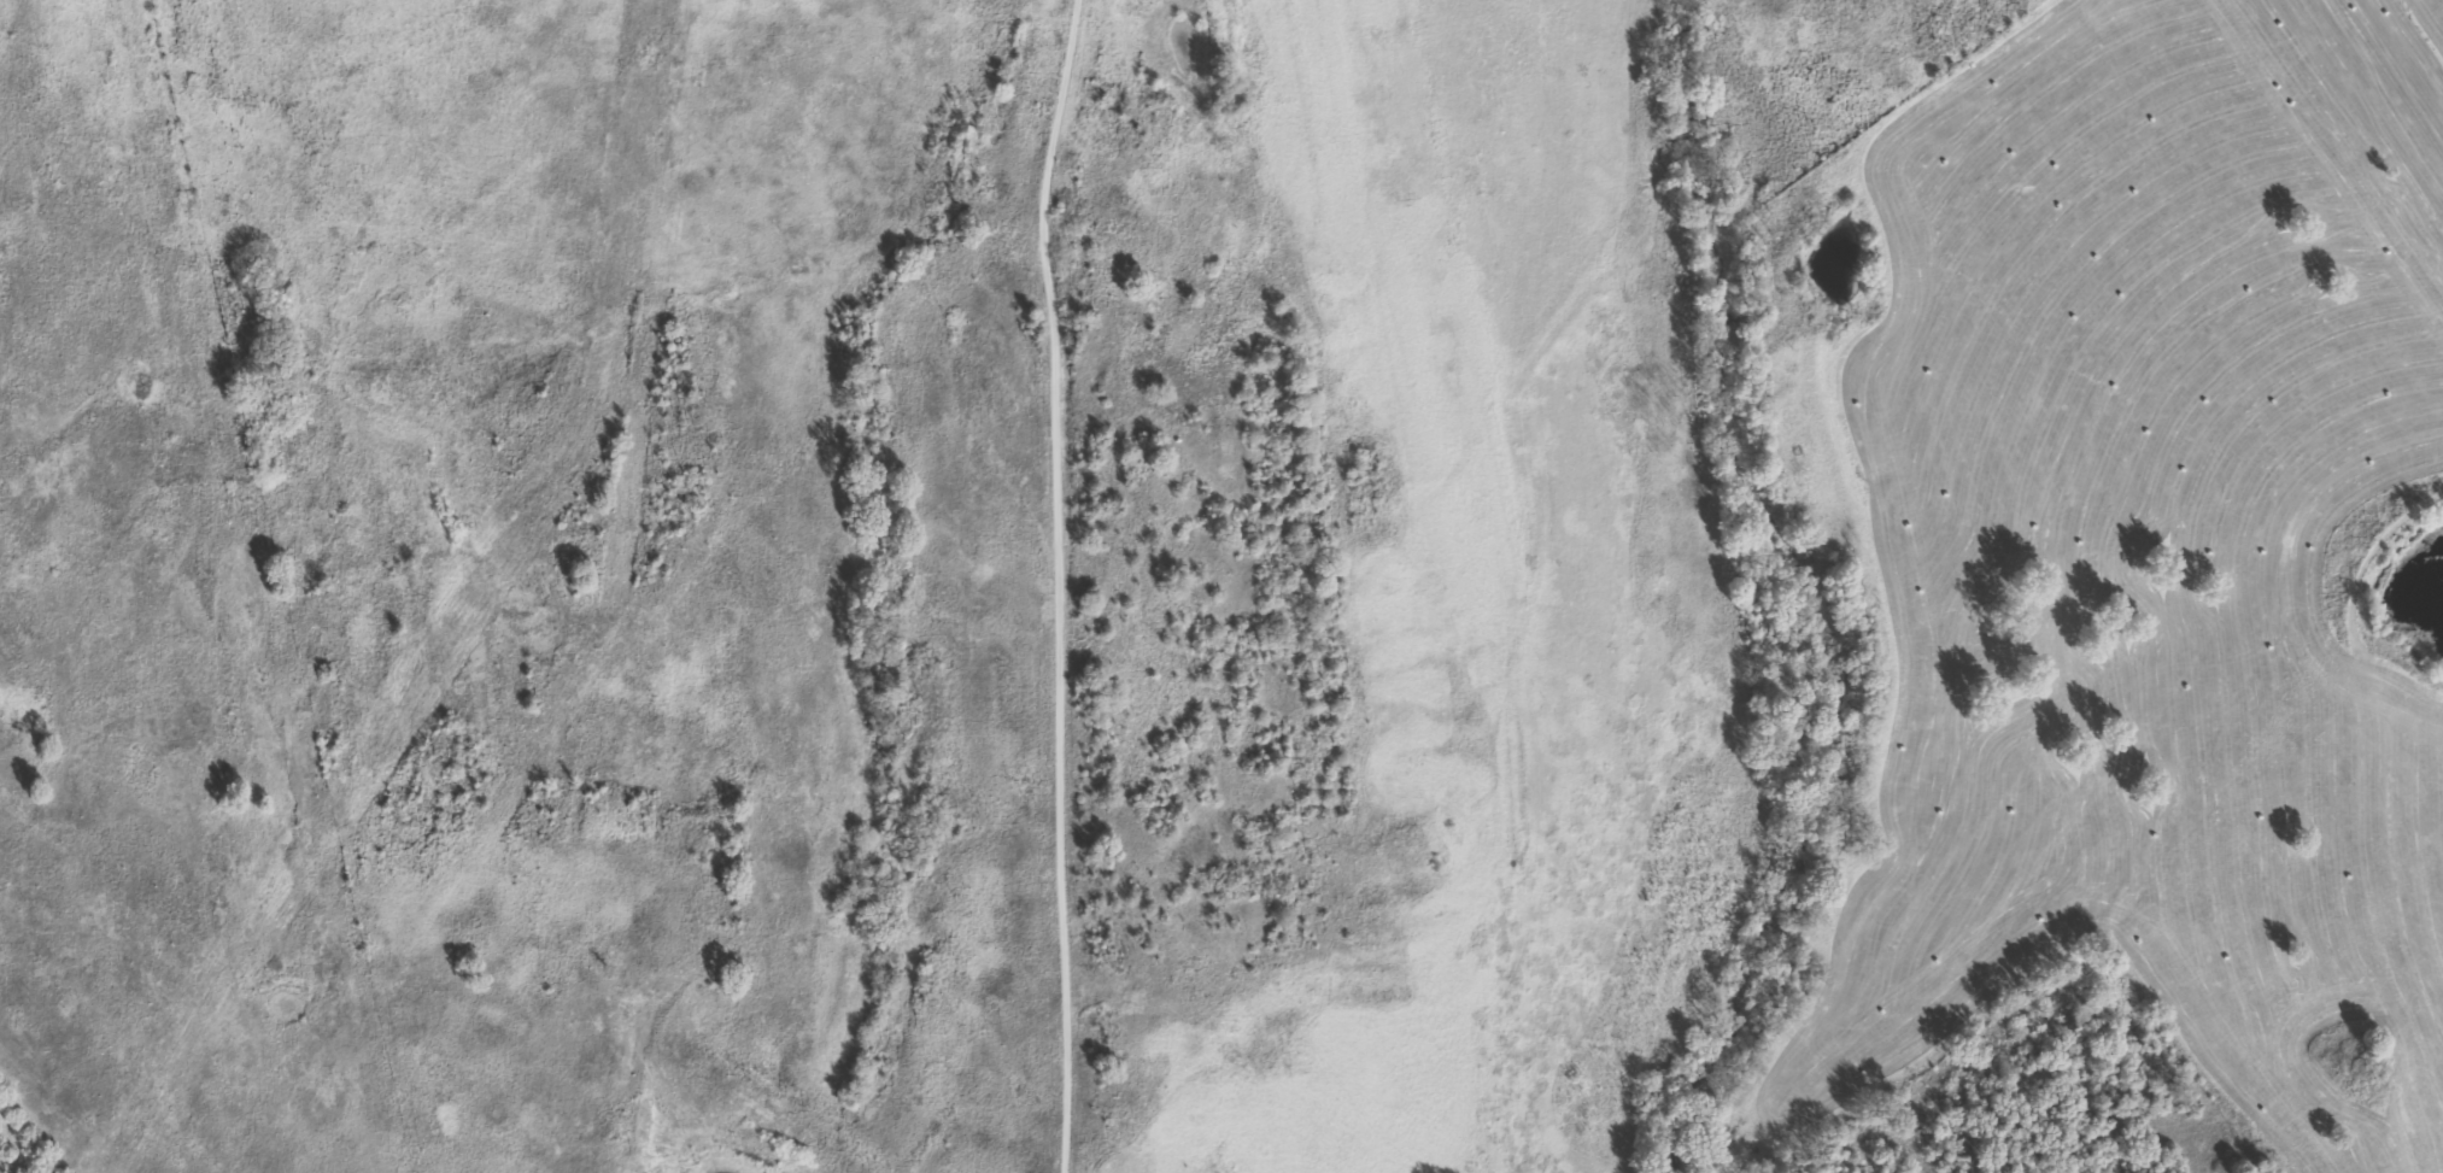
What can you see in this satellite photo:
road: (1060, 585)

